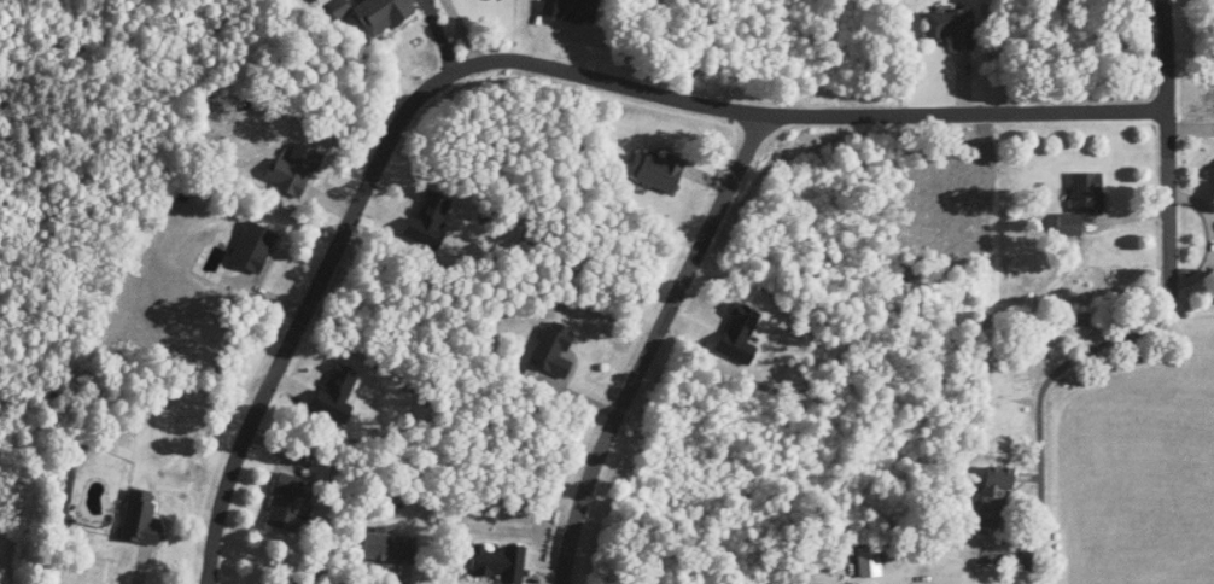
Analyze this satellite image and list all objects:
building: (373, 13)
building: (952, 27)
road: (438, 35)
road: (521, 62)
road: (1165, 138)
building: (654, 170)
building: (1086, 192)
building: (1069, 224)
building: (252, 249)
road: (654, 344)
building: (553, 350)
road: (1043, 386)
building: (994, 495)
building: (288, 504)
building: (139, 520)
building: (389, 550)

